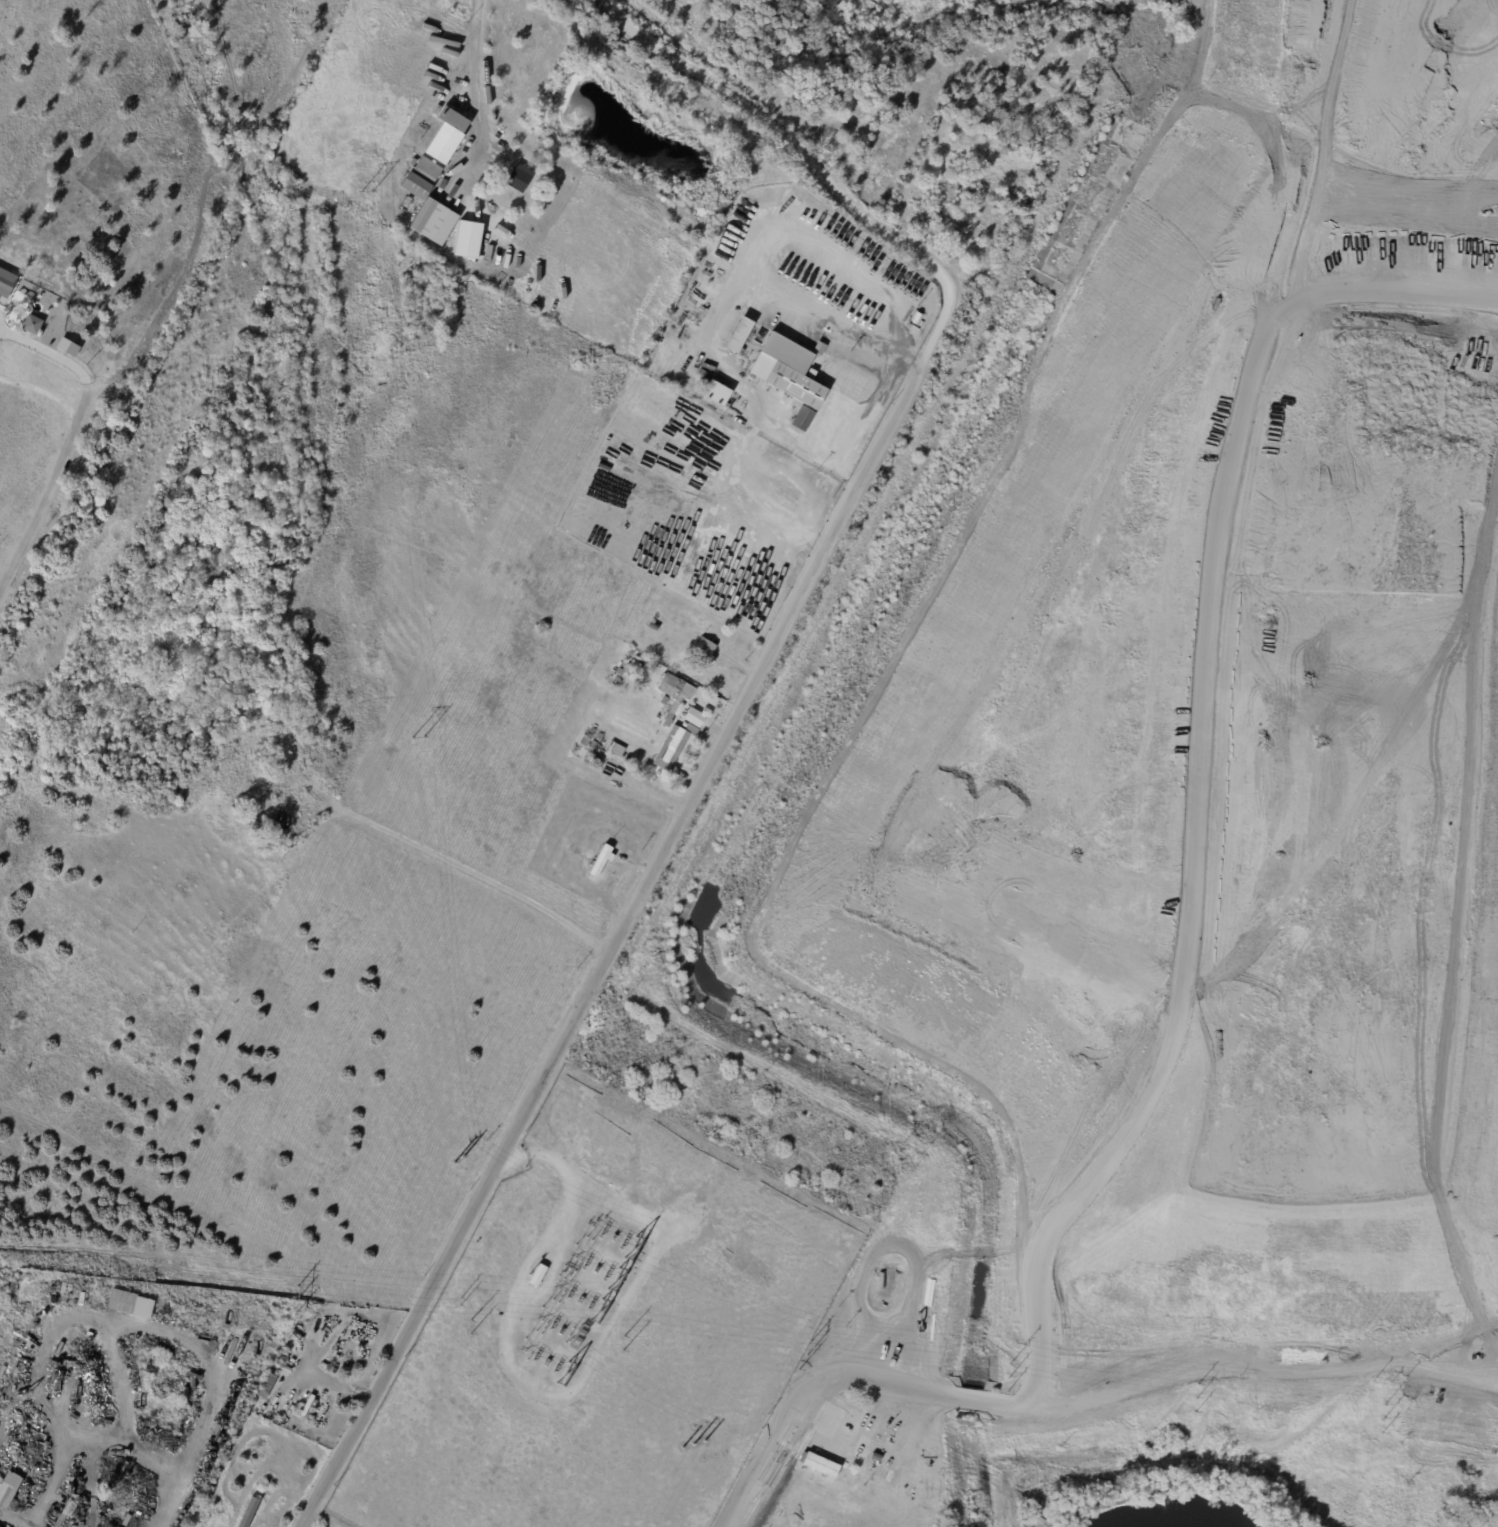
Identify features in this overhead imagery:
road: (476, 92)
building: (438, 154)
building: (413, 162)
road: (811, 167)
building: (518, 179)
building: (490, 187)
building: (414, 188)
building: (433, 221)
building: (467, 239)
building: (6, 282)
road: (715, 315)
building: (31, 324)
building: (738, 335)
building: (788, 370)
building: (717, 393)
building: (802, 418)
road: (1209, 605)
building: (654, 626)
building: (704, 651)
building: (630, 665)
building: (672, 696)
building: (687, 712)
building: (212, 722)
landfill: (1198, 727)
building: (673, 748)
building: (593, 749)
building: (614, 752)
building: (646, 772)
building: (600, 861)
road: (607, 947)
building: (538, 1274)
power tower: (295, 1300)
power tower: (455, 1301)
building: (144, 1307)
building: (35, 1321)
power tower: (468, 1326)
power substation: (600, 1333)
power tower: (623, 1343)
power tower: (805, 1356)
power tower: (1007, 1378)
power tower: (1195, 1398)
road: (994, 1402)
power tower: (1382, 1418)
power tower: (690, 1444)
building: (859, 1454)
building: (10, 1489)
road: (10, 1521)

